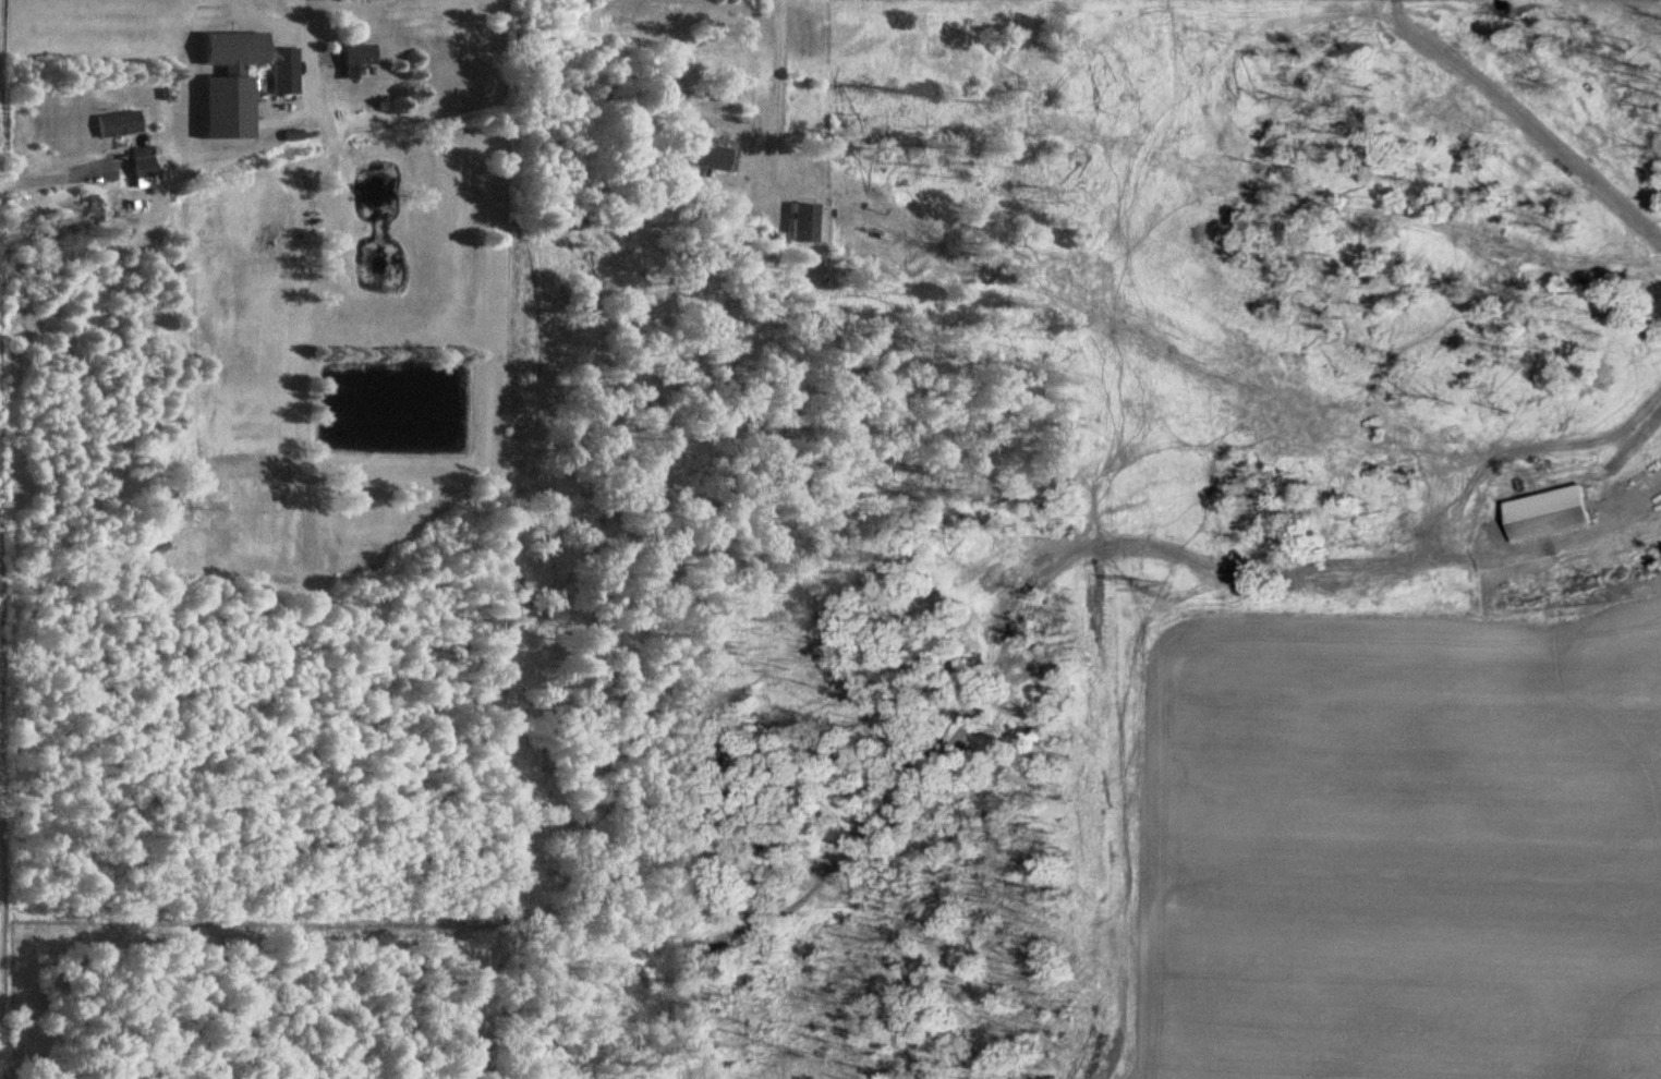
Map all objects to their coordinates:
building: (357, 57)
building: (287, 70)
building: (233, 82)
building: (120, 122)
building: (719, 155)
building: (146, 170)
road: (54, 178)
building: (1556, 513)
power tower: (1161, 591)

